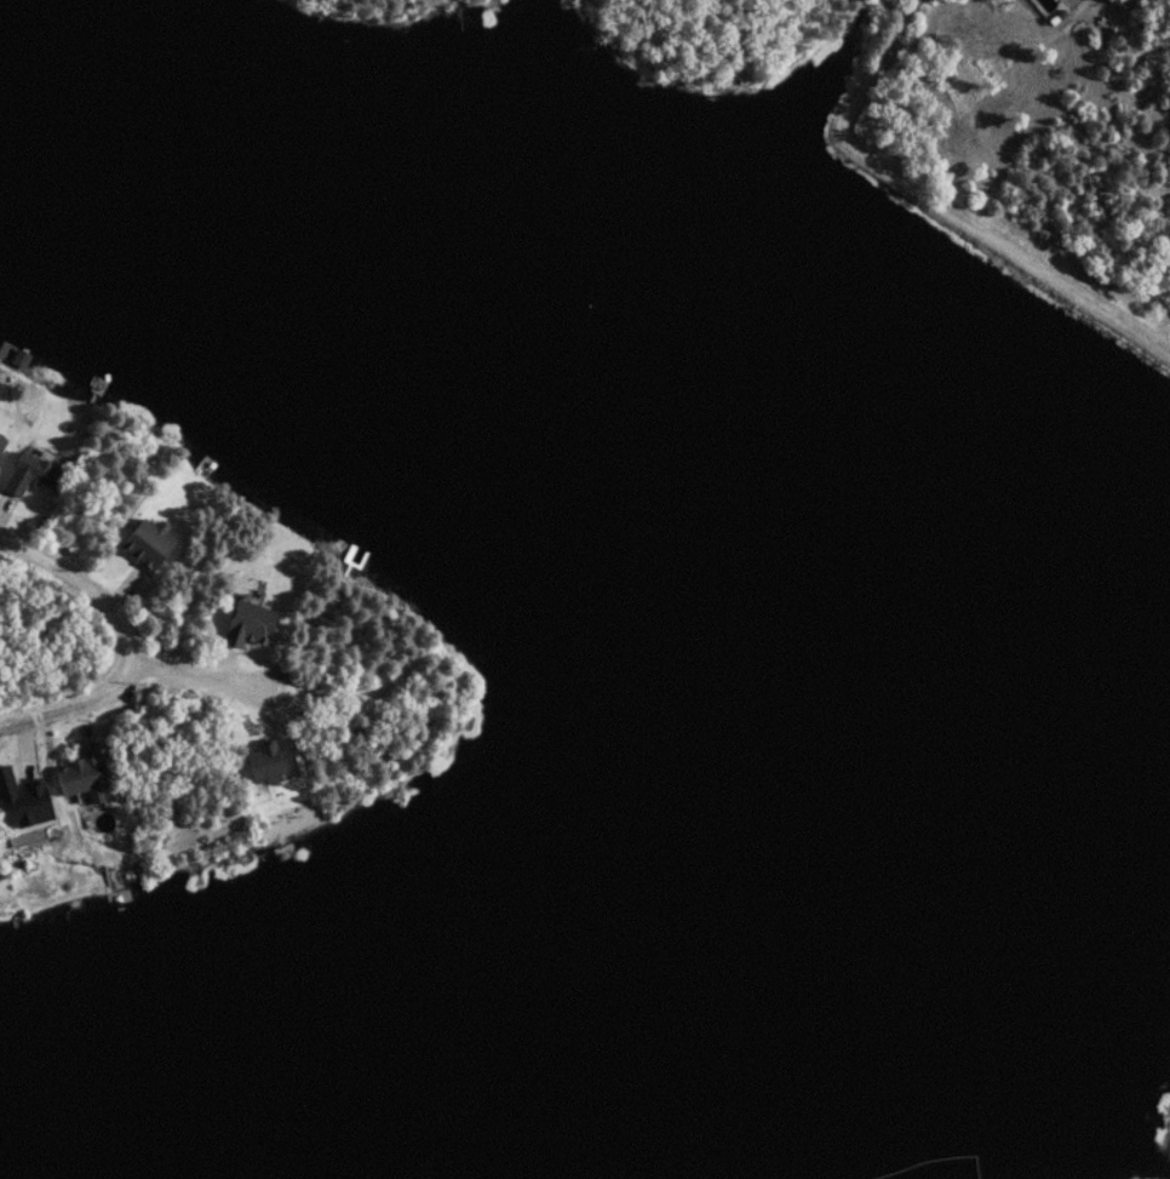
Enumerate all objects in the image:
road: (1078, 6)
road: (994, 177)
dam: (1059, 273)
building: (1, 440)
building: (30, 471)
building: (148, 543)
road: (91, 589)
building: (252, 620)
road: (195, 676)
road: (61, 710)
building: (85, 773)
dam: (1168, 1149)

